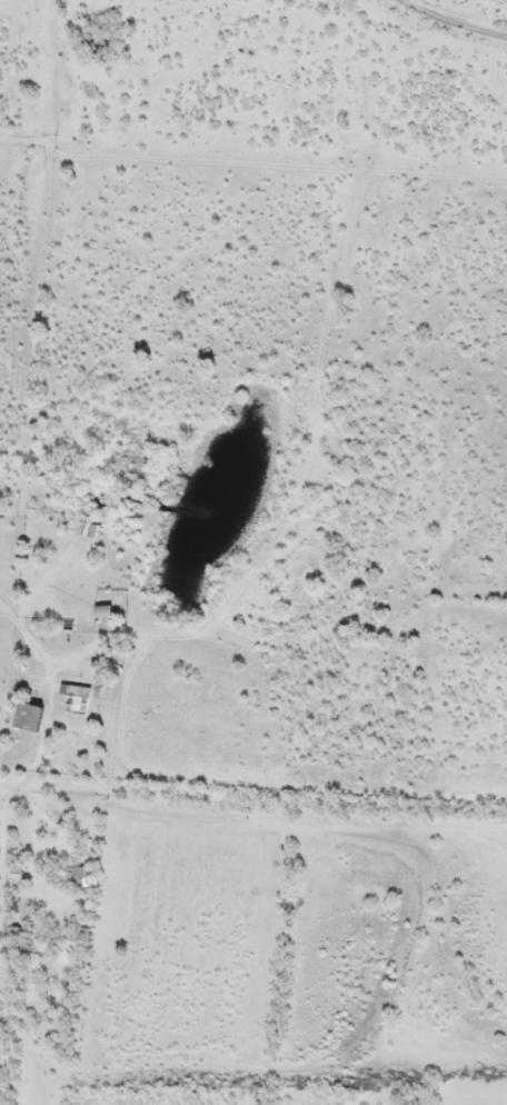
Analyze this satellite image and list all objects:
road: (451, 24)

